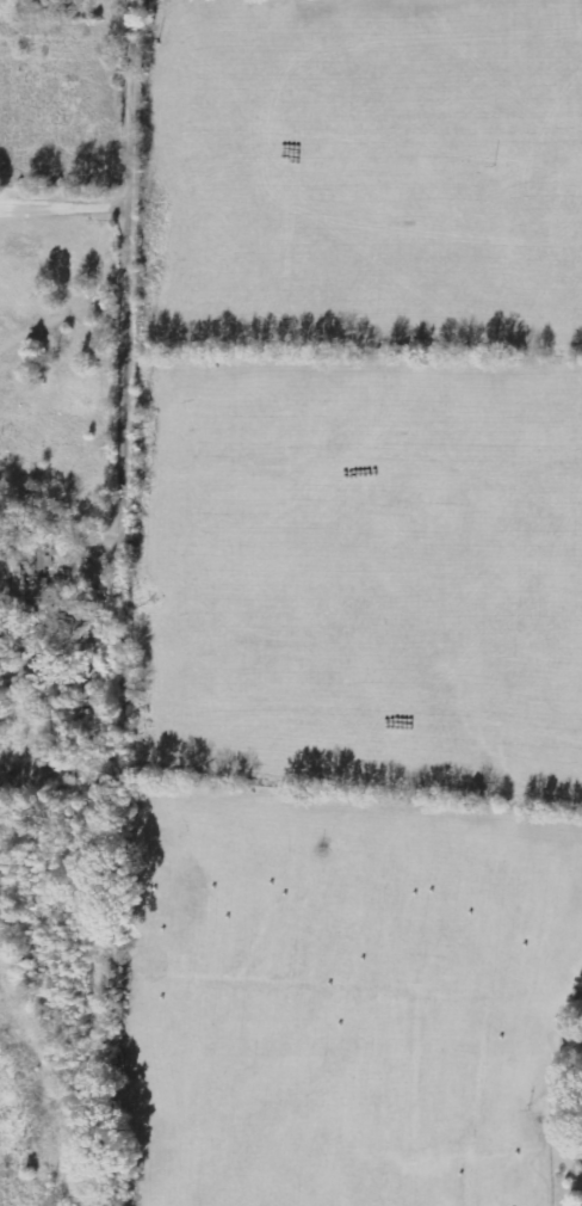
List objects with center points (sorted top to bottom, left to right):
road: (70, 203)
road: (140, 247)
building: (580, 1157)

